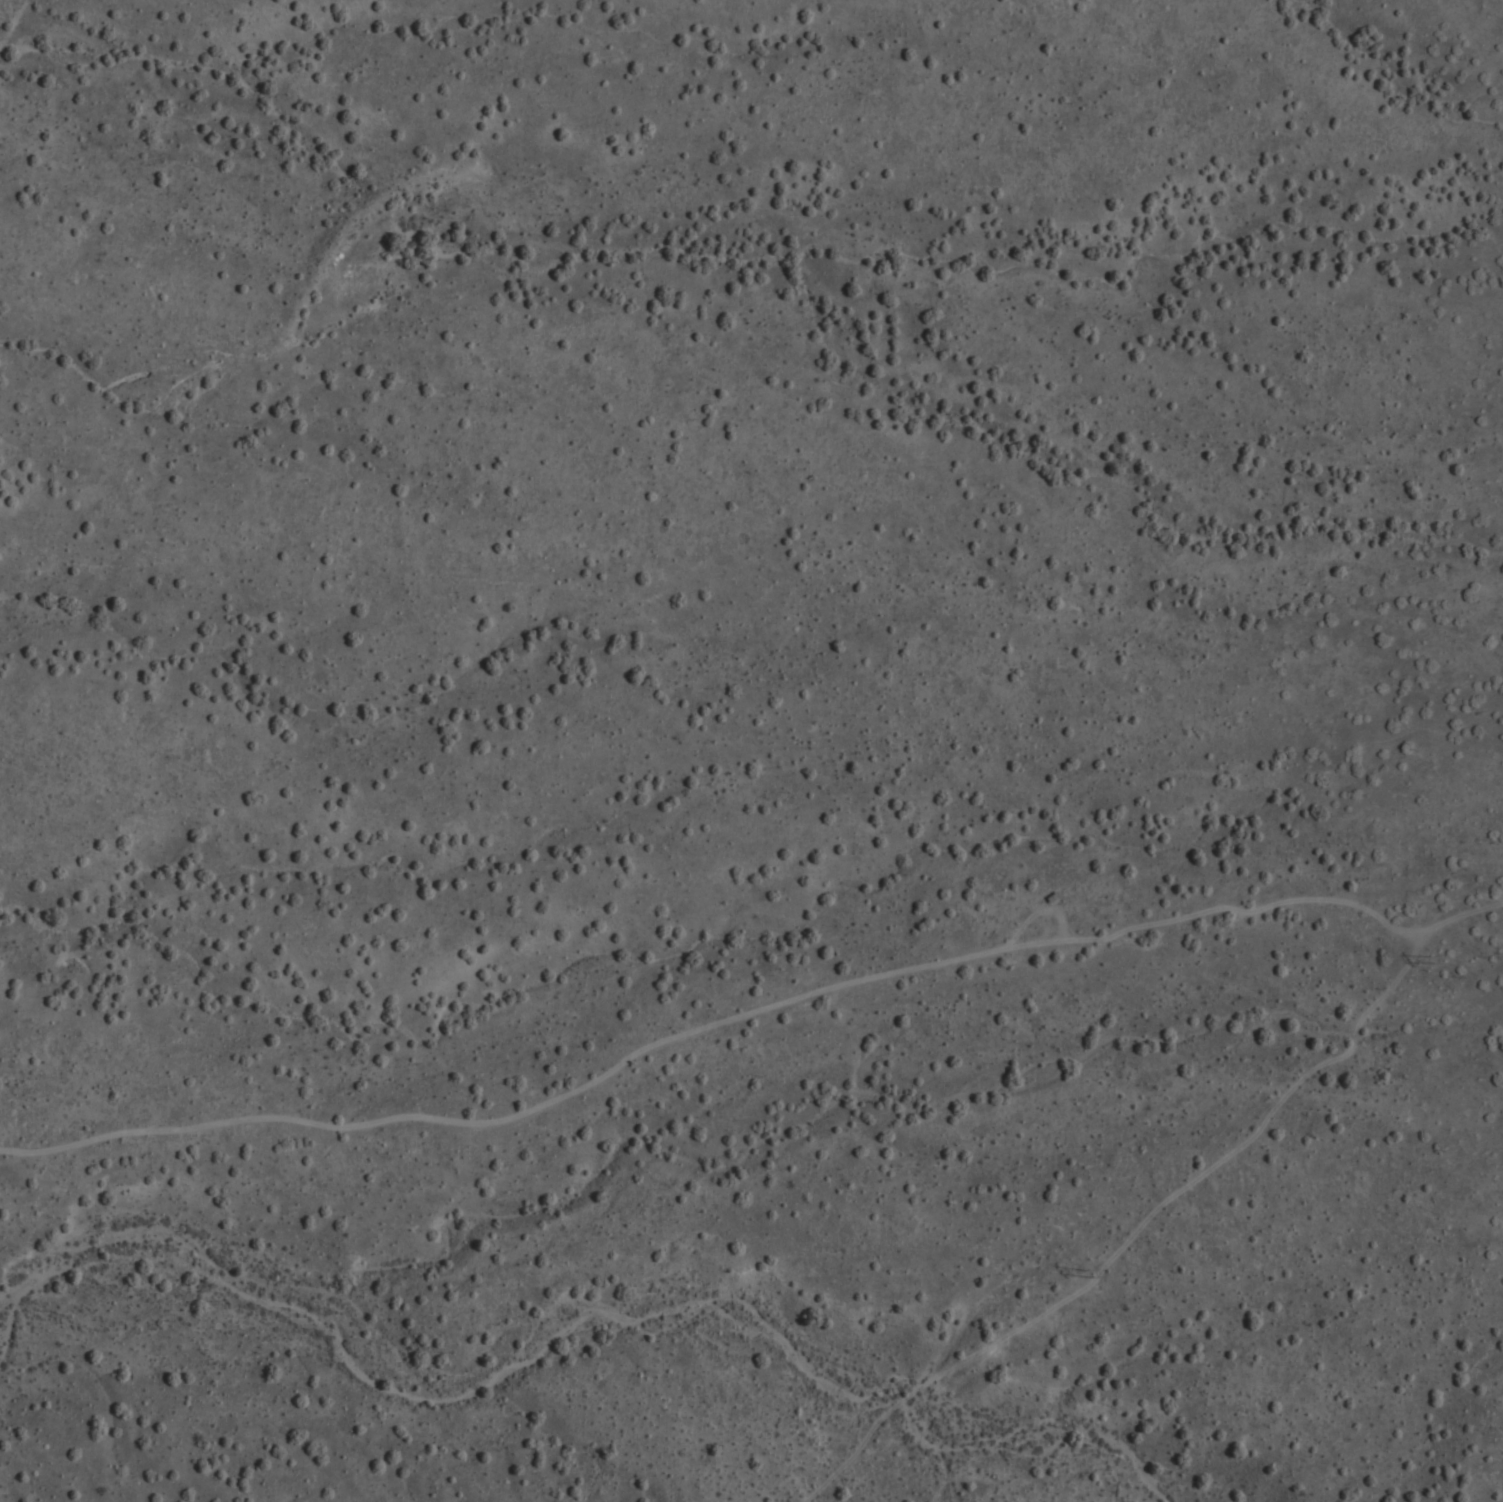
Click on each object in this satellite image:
power tower: (1434, 956)
power tower: (1081, 1270)

